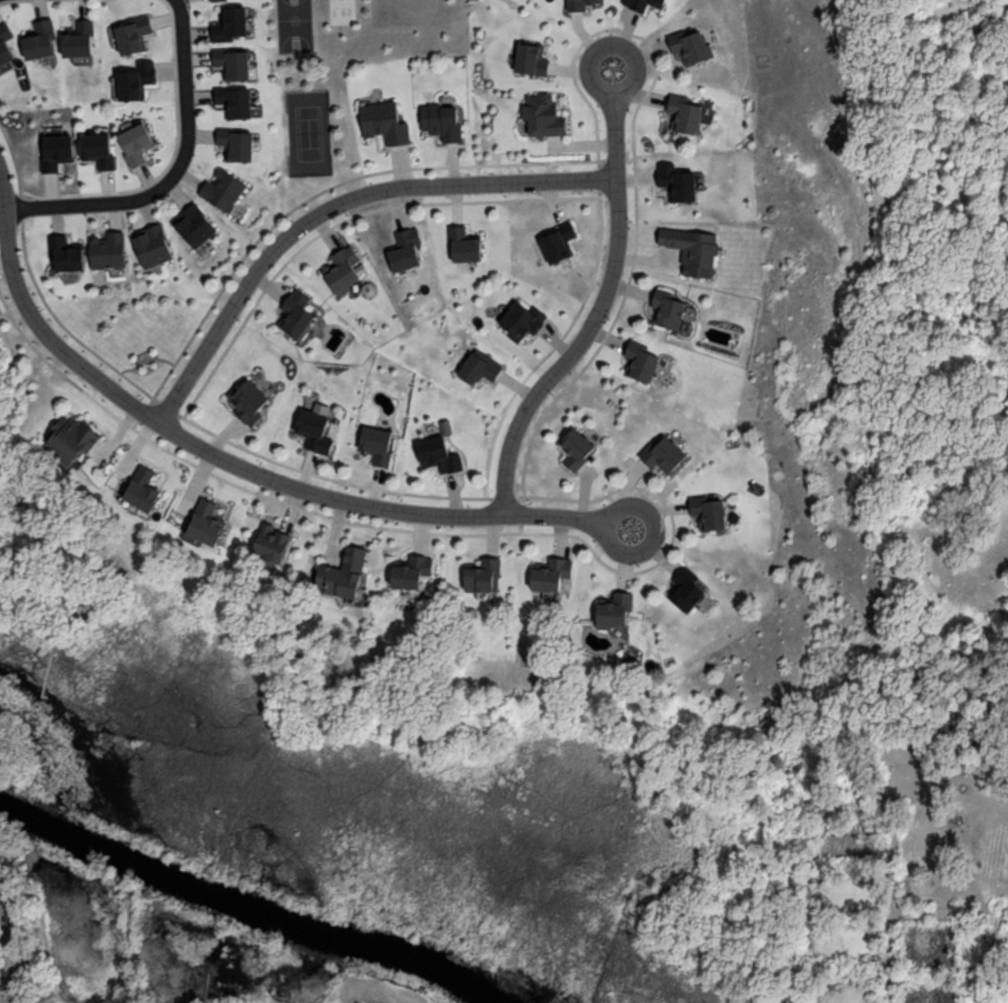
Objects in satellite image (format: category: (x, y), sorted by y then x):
building: (579, 4)
building: (230, 22)
park: (295, 26)
building: (133, 33)
building: (39, 38)
building: (78, 38)
building: (5, 42)
building: (689, 44)
building: (530, 57)
building: (233, 62)
building: (136, 79)
road: (184, 92)
building: (234, 100)
building: (687, 112)
building: (542, 113)
building: (440, 120)
building: (384, 121)
park: (309, 132)
building: (135, 142)
building: (236, 143)
building: (97, 148)
building: (56, 150)
building: (675, 181)
building: (222, 188)
road: (89, 203)
road: (333, 203)
road: (3, 204)
building: (194, 224)
building: (557, 242)
building: (464, 243)
building: (151, 244)
building: (404, 248)
building: (692, 248)
building: (107, 249)
building: (65, 252)
building: (344, 267)
park: (939, 297)
road: (599, 302)
building: (666, 308)
building: (295, 312)
building: (521, 319)
building: (640, 359)
building: (479, 366)
building: (247, 400)
building: (69, 436)
building: (376, 444)
building: (575, 446)
building: (662, 453)
building: (438, 454)
road: (238, 464)
building: (142, 488)
building: (707, 510)
building: (206, 521)
building: (270, 542)
building: (411, 570)
building: (550, 573)
building: (343, 574)
building: (482, 574)
building: (685, 588)
building: (614, 608)
river: (244, 903)
road: (5, 960)

